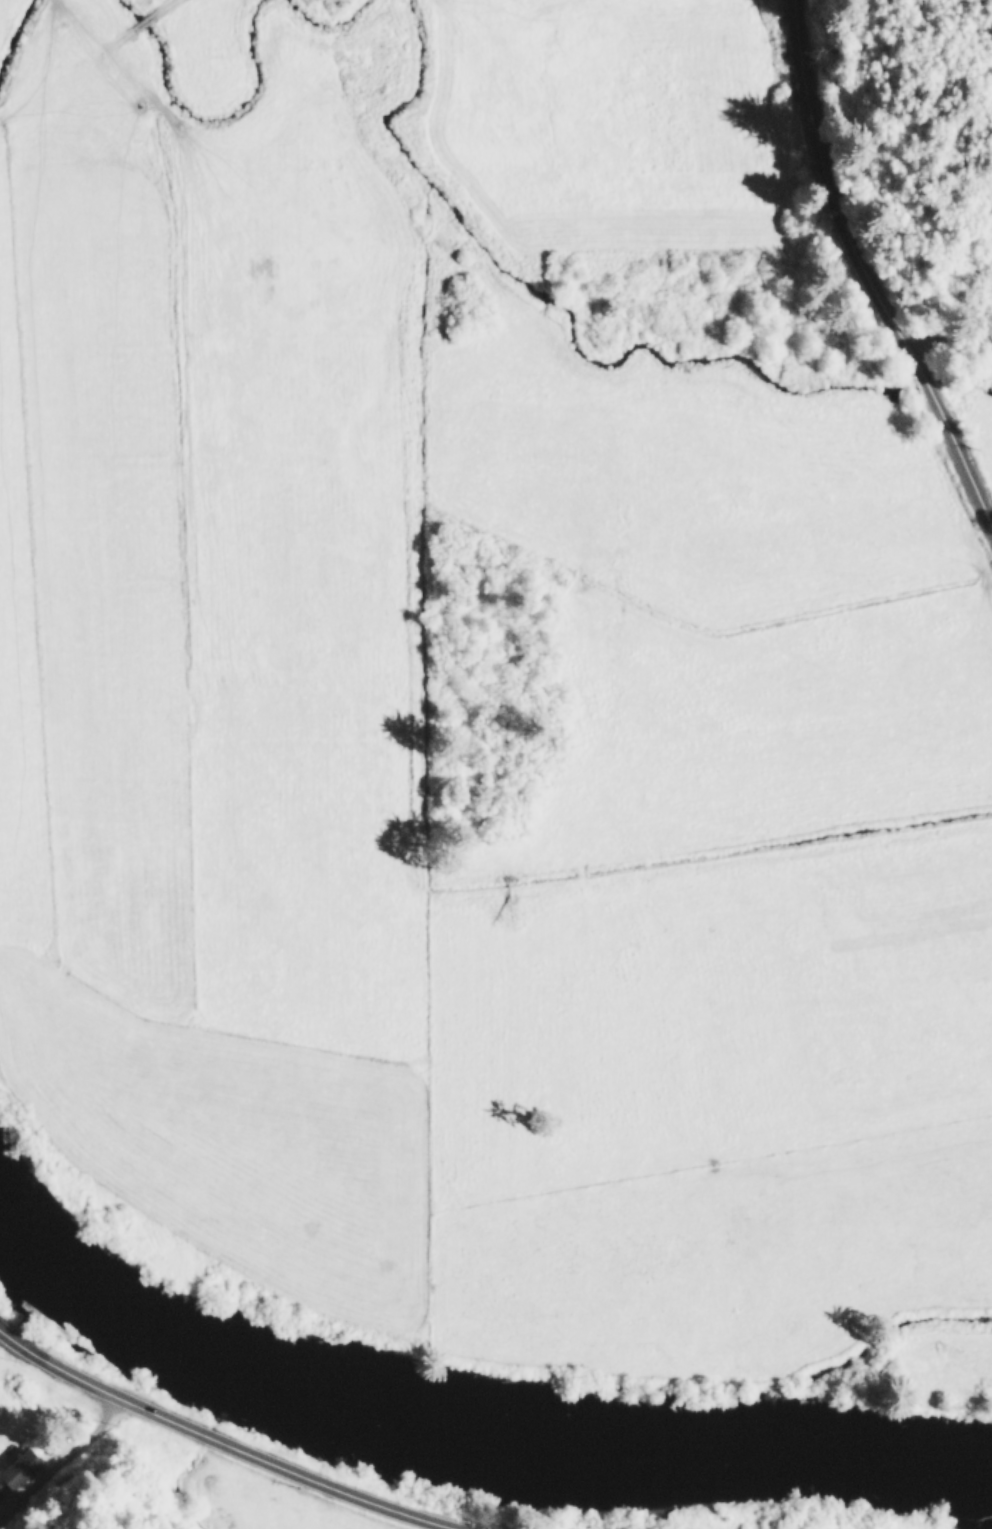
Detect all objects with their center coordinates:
road: (166, 4)
road: (864, 274)
road: (946, 324)
crop: (483, 699)
road: (227, 1442)
river: (466, 1448)
building: (19, 1468)
crop: (283, 1502)

